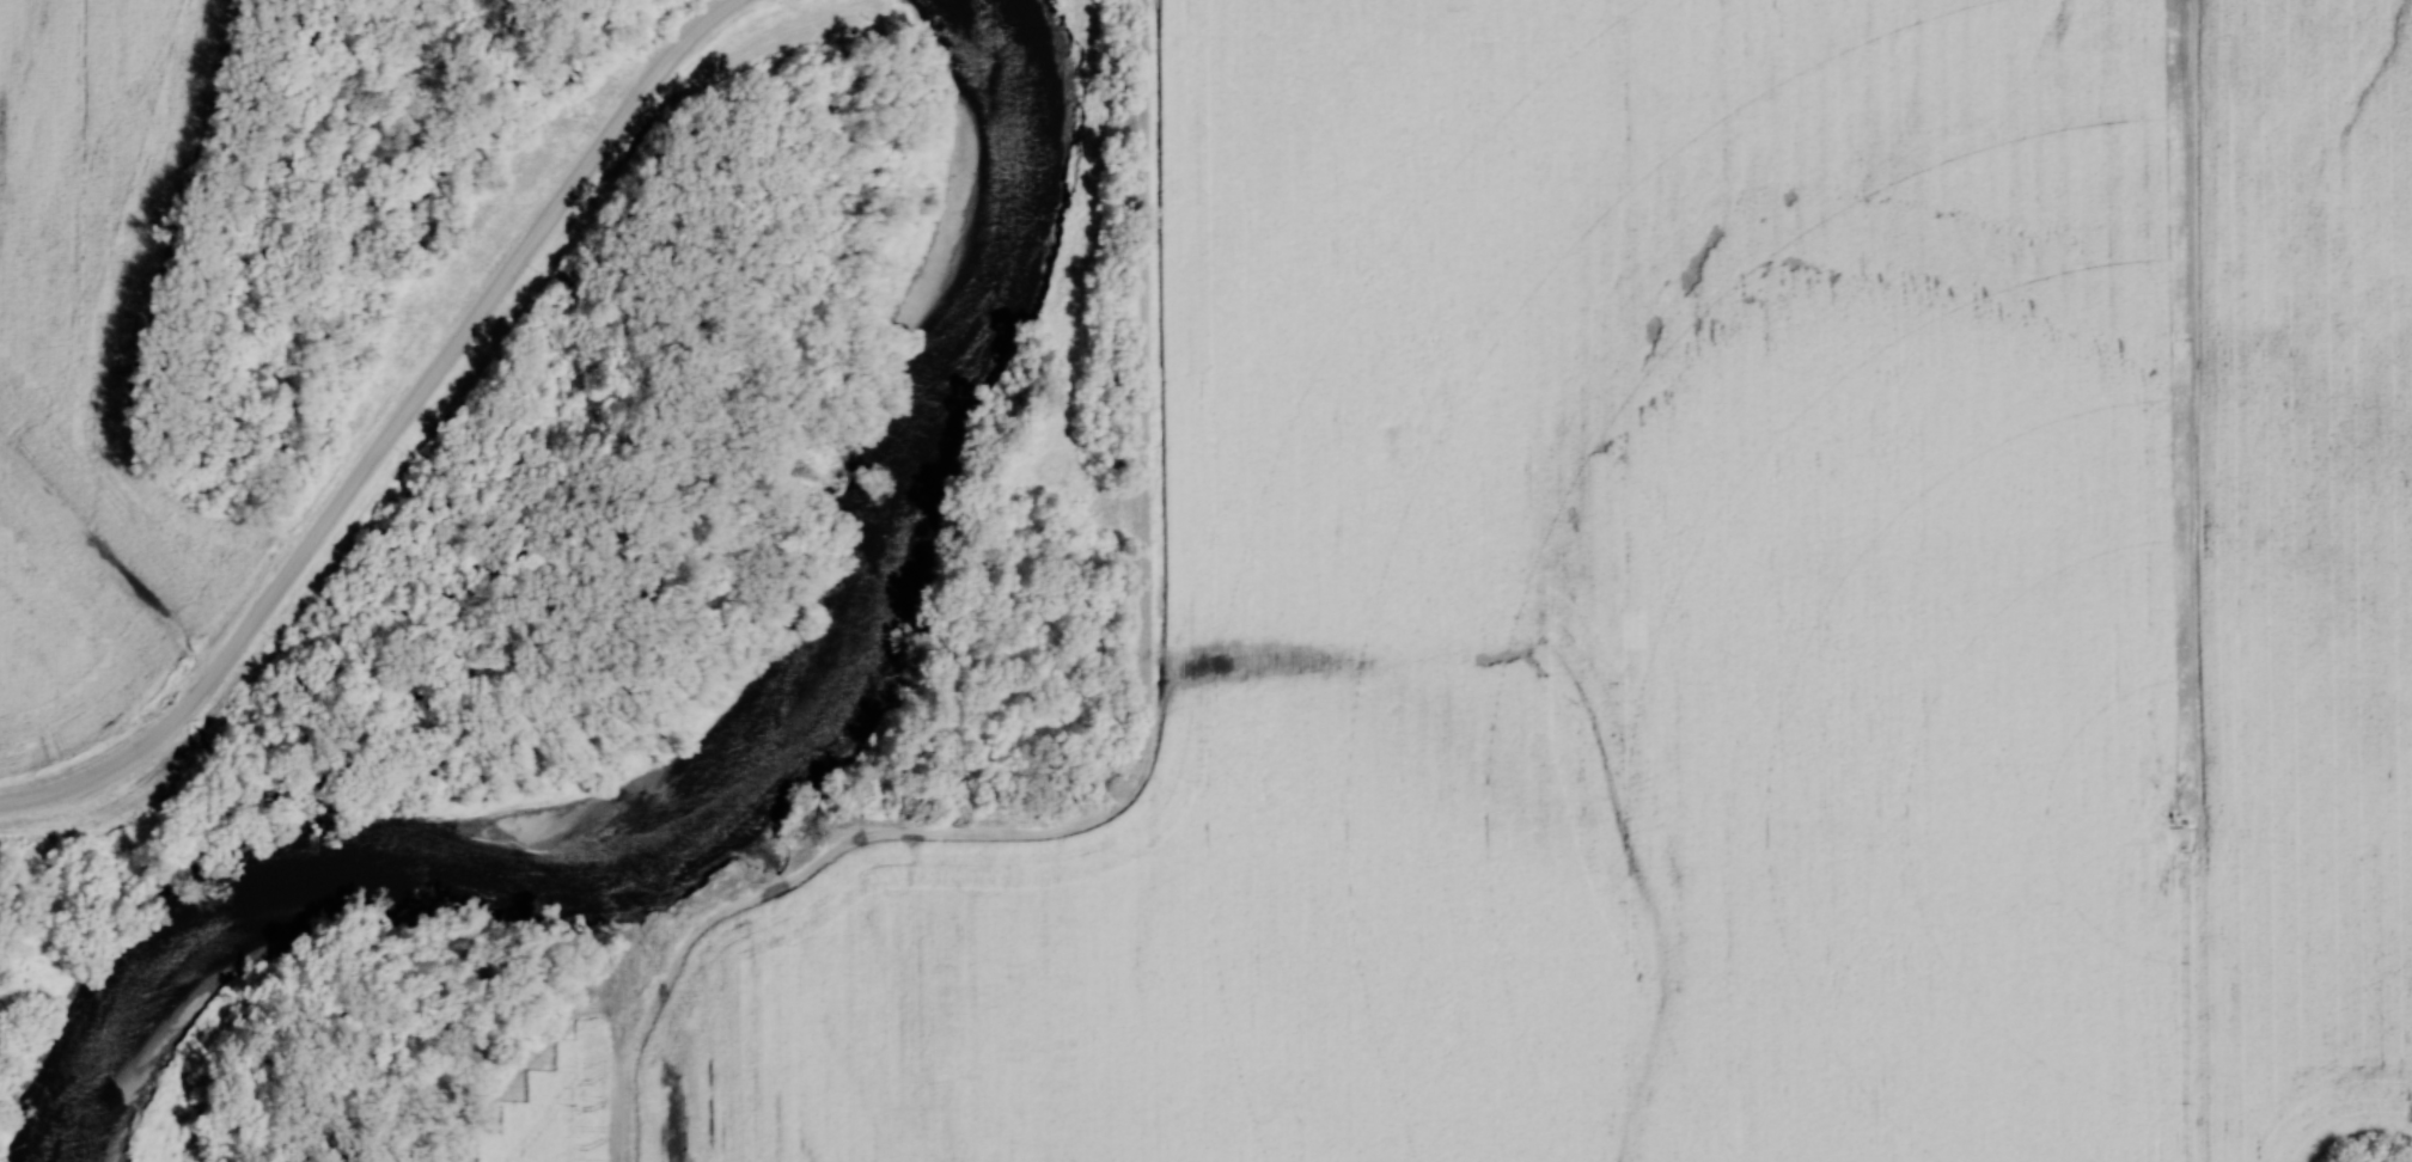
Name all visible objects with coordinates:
road: (393, 436)
river: (738, 744)
road: (1138, 777)

